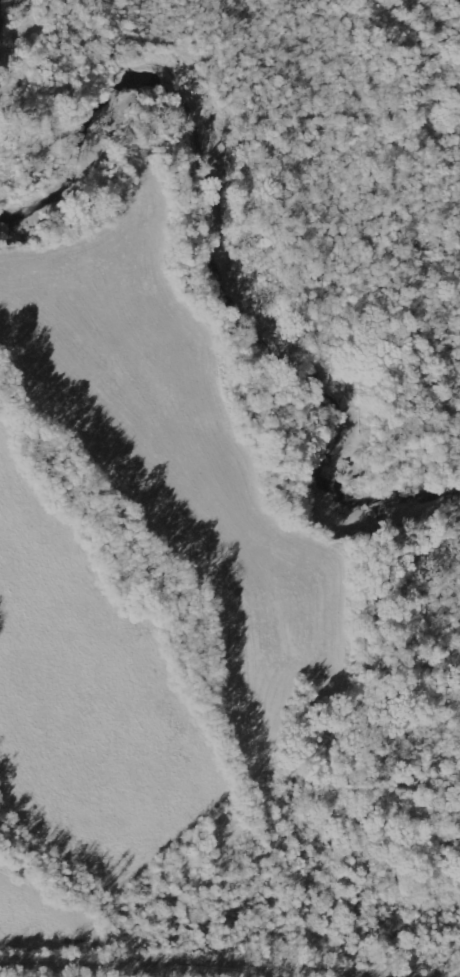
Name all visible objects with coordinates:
road: (174, 969)

